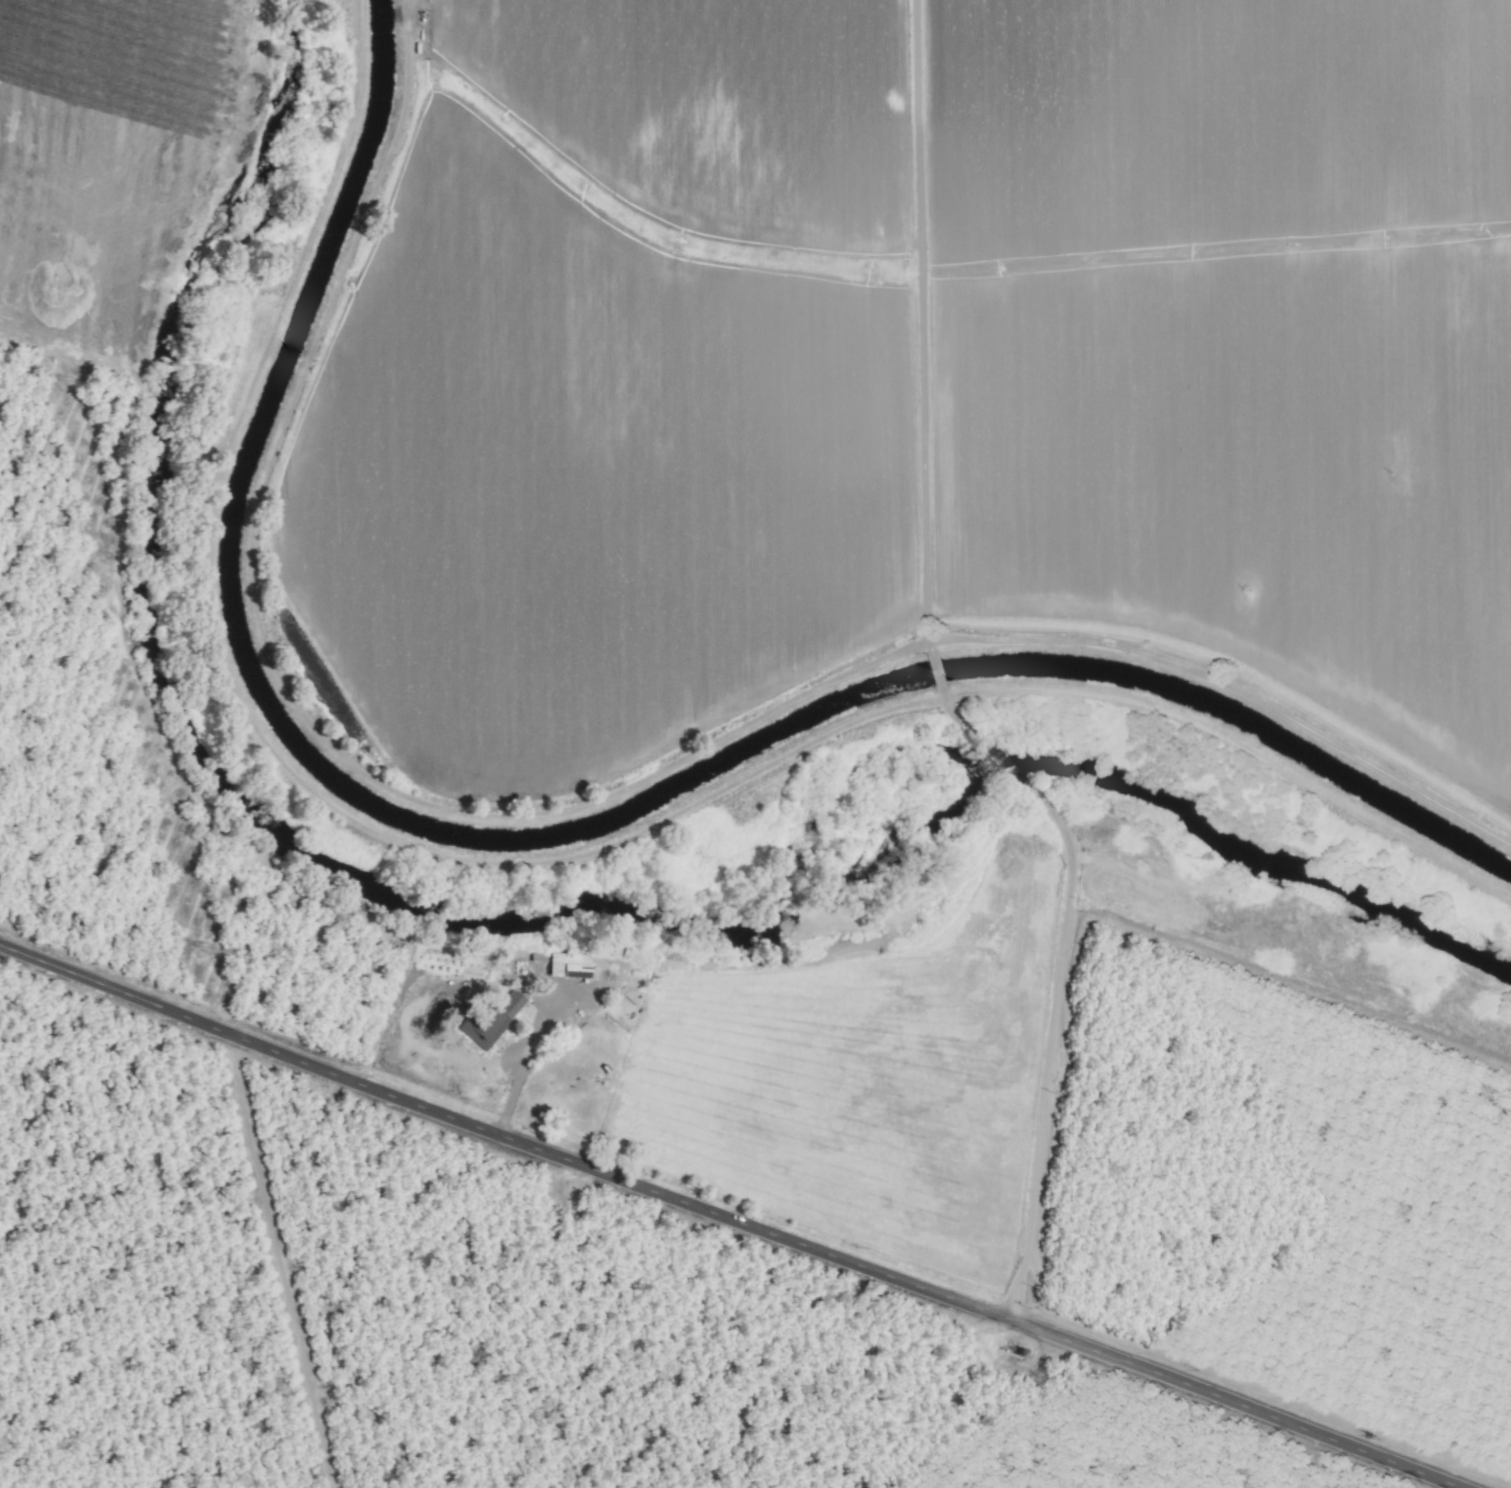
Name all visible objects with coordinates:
road: (921, 326)
power tower: (65, 384)
road: (938, 675)
power tower: (204, 952)
building: (567, 966)
road: (1059, 987)
building: (493, 1015)
road: (516, 1081)
road: (727, 1218)

